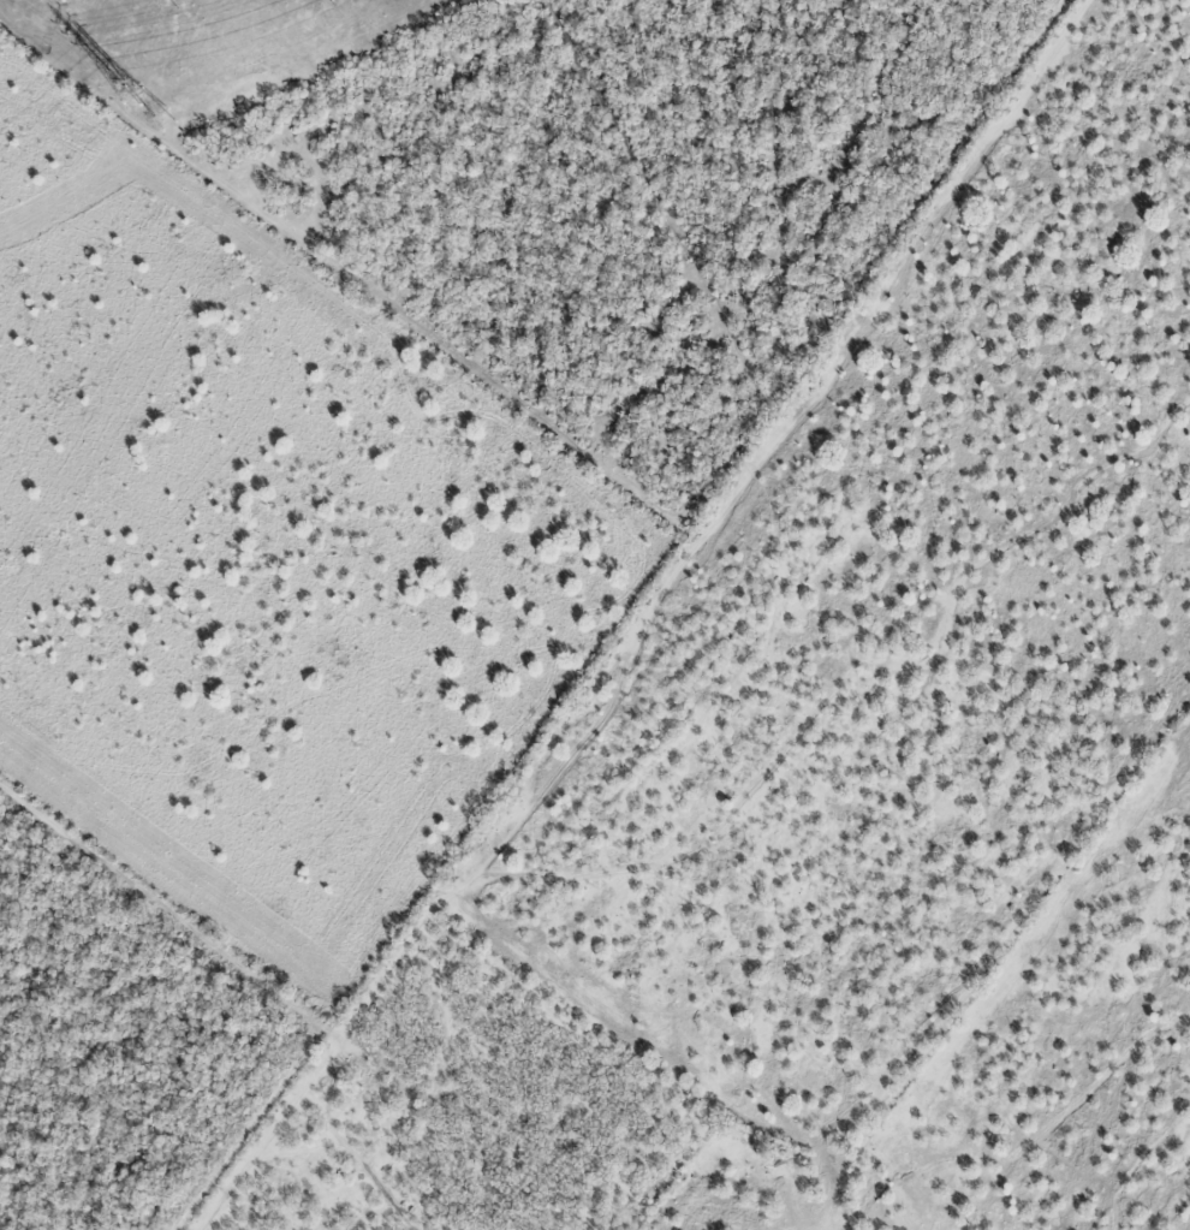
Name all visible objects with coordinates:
power tower: (137, 94)
power tower: (167, 118)

